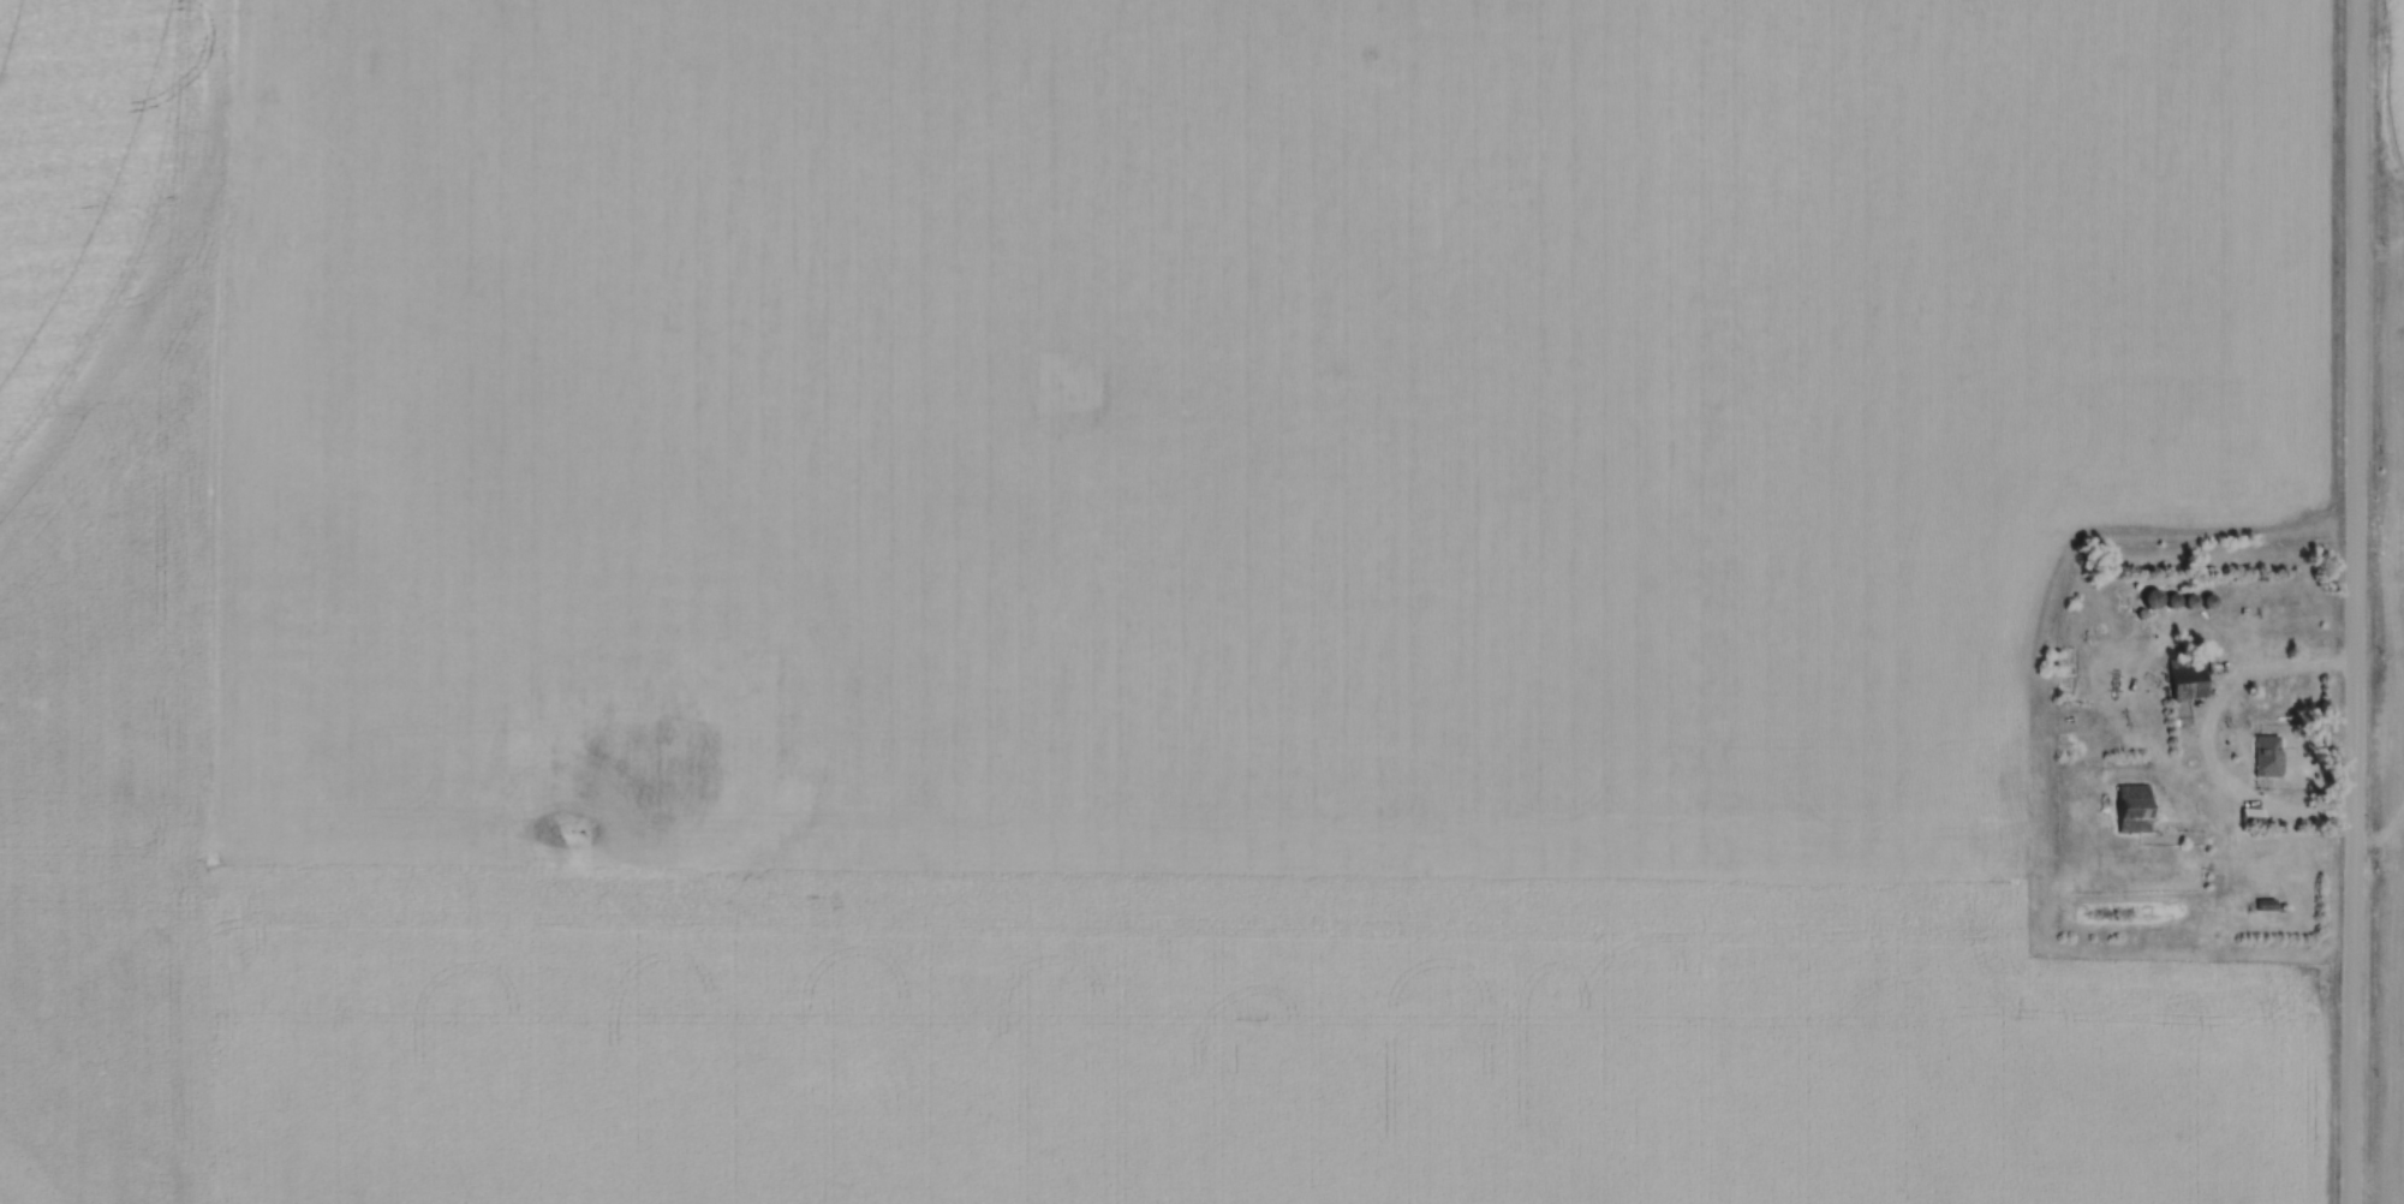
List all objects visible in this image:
building: (2146, 602)
road: (2357, 602)
building: (2183, 681)
road: (2213, 733)
building: (2265, 761)
building: (2129, 812)
building: (2262, 908)

